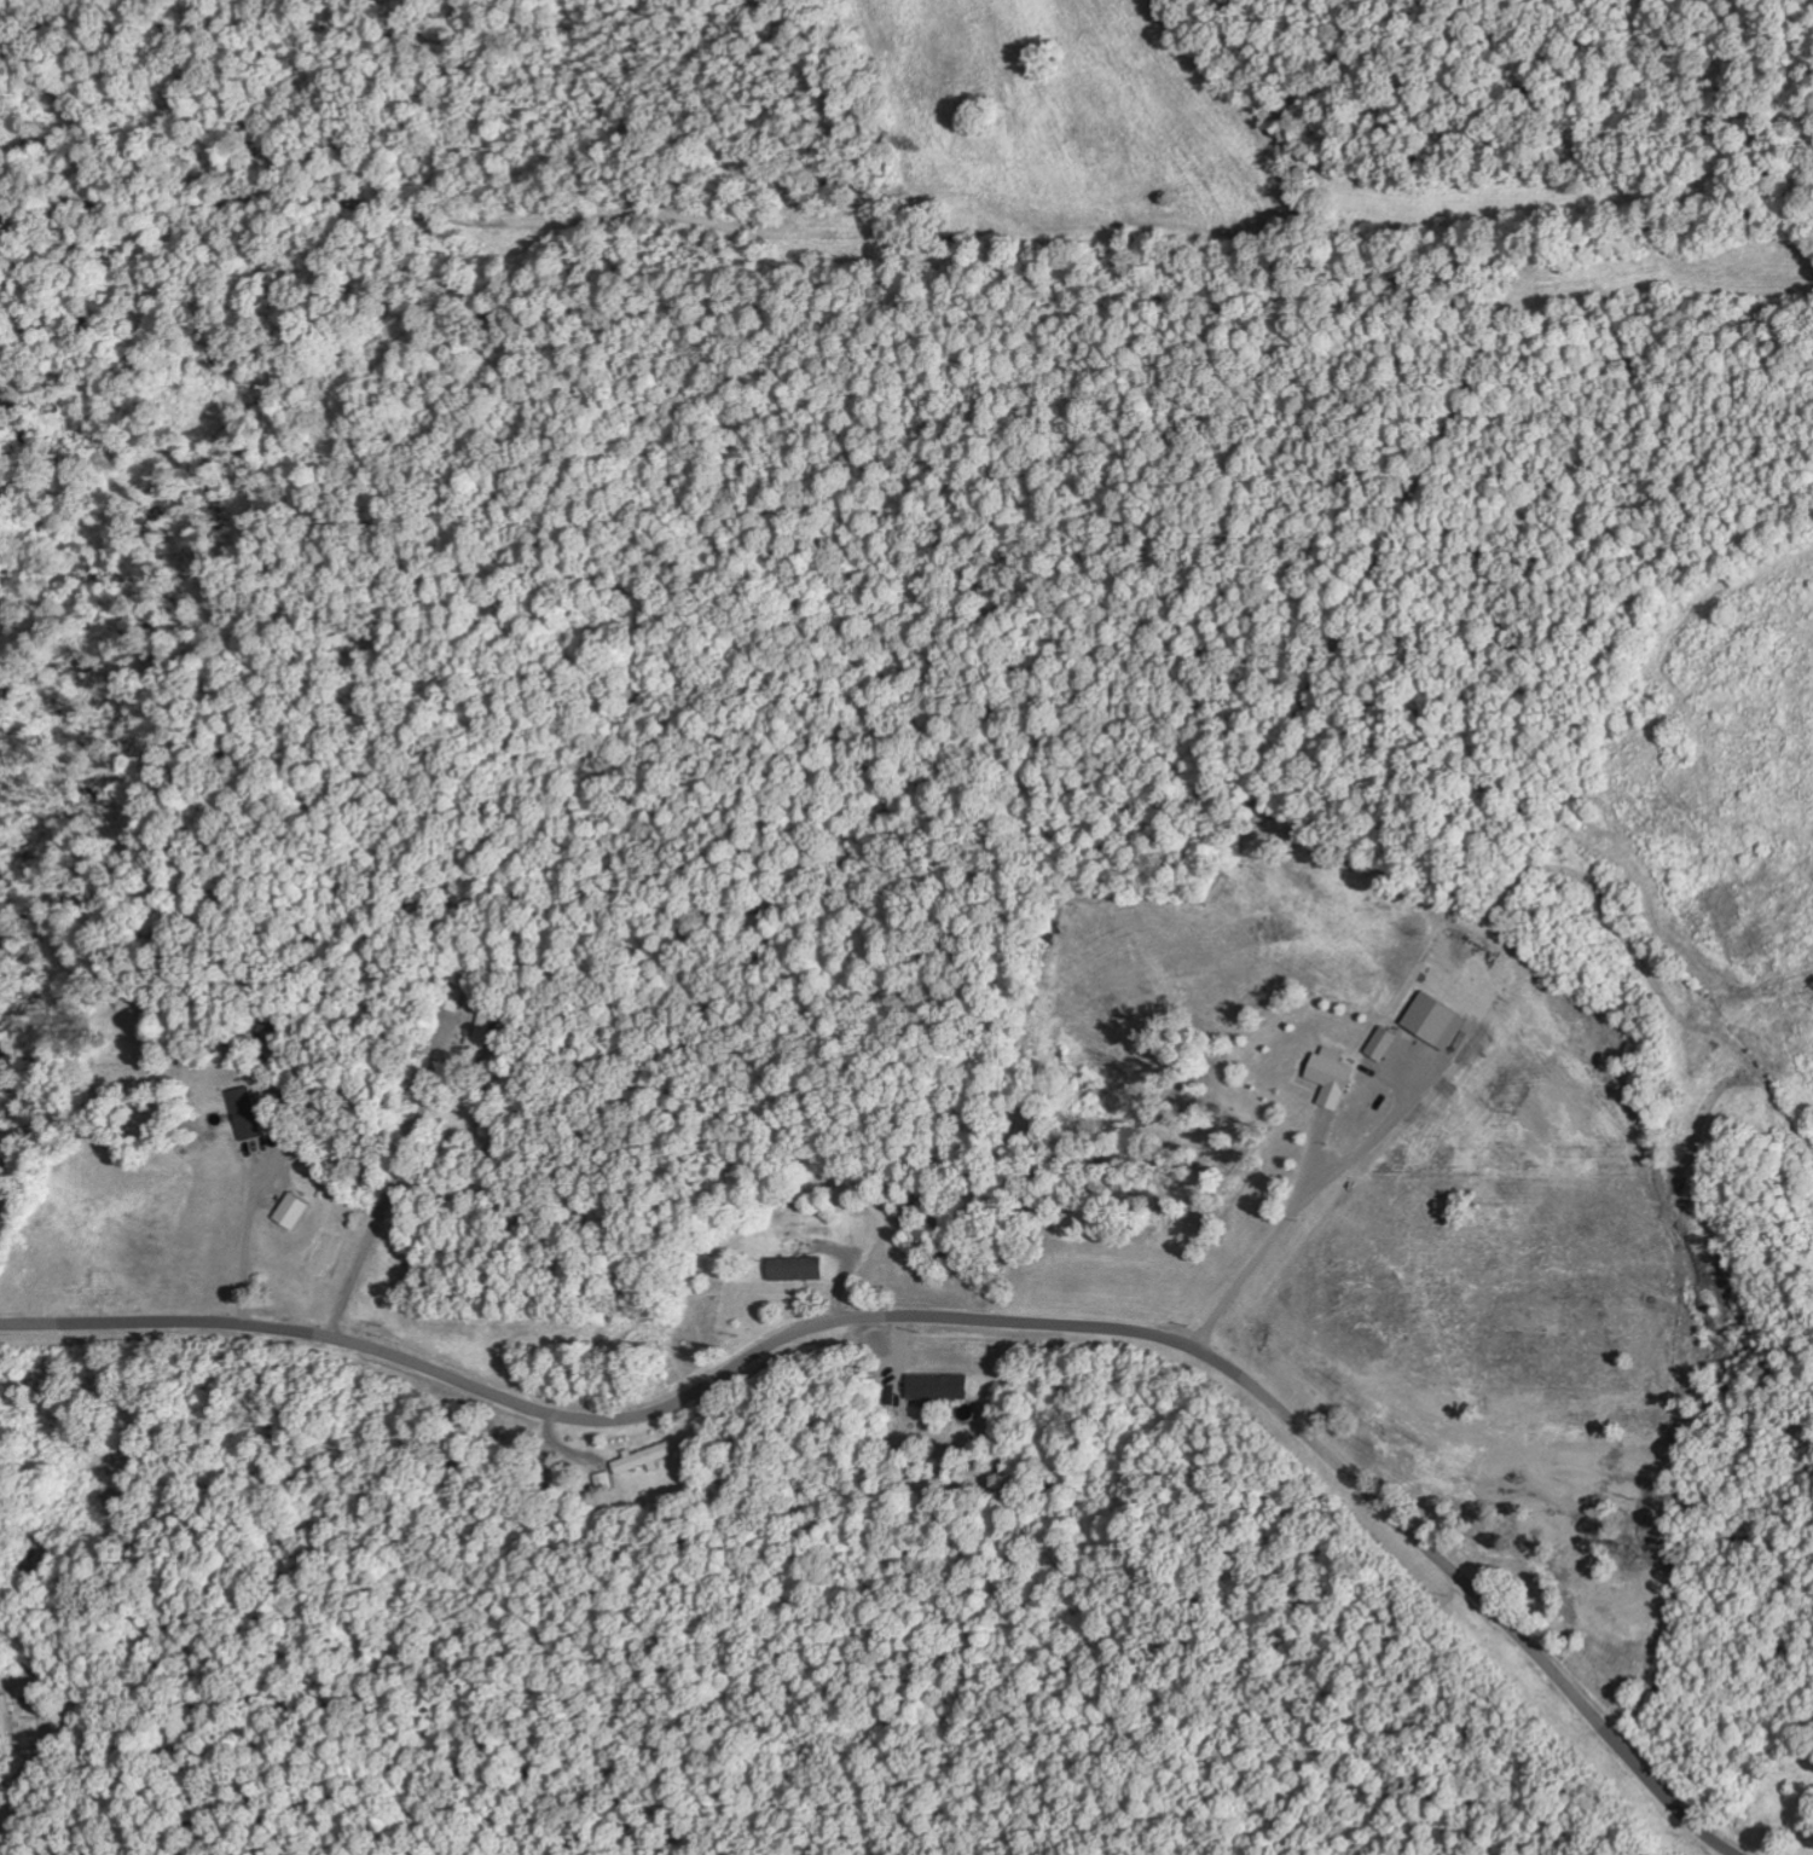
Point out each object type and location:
building: (1431, 1020)
building: (1379, 1043)
building: (1327, 1078)
building: (243, 1113)
building: (290, 1212)
road: (1269, 1245)
building: (793, 1268)
road: (954, 1316)
building: (936, 1386)
building: (641, 1457)
building: (2, 1715)

